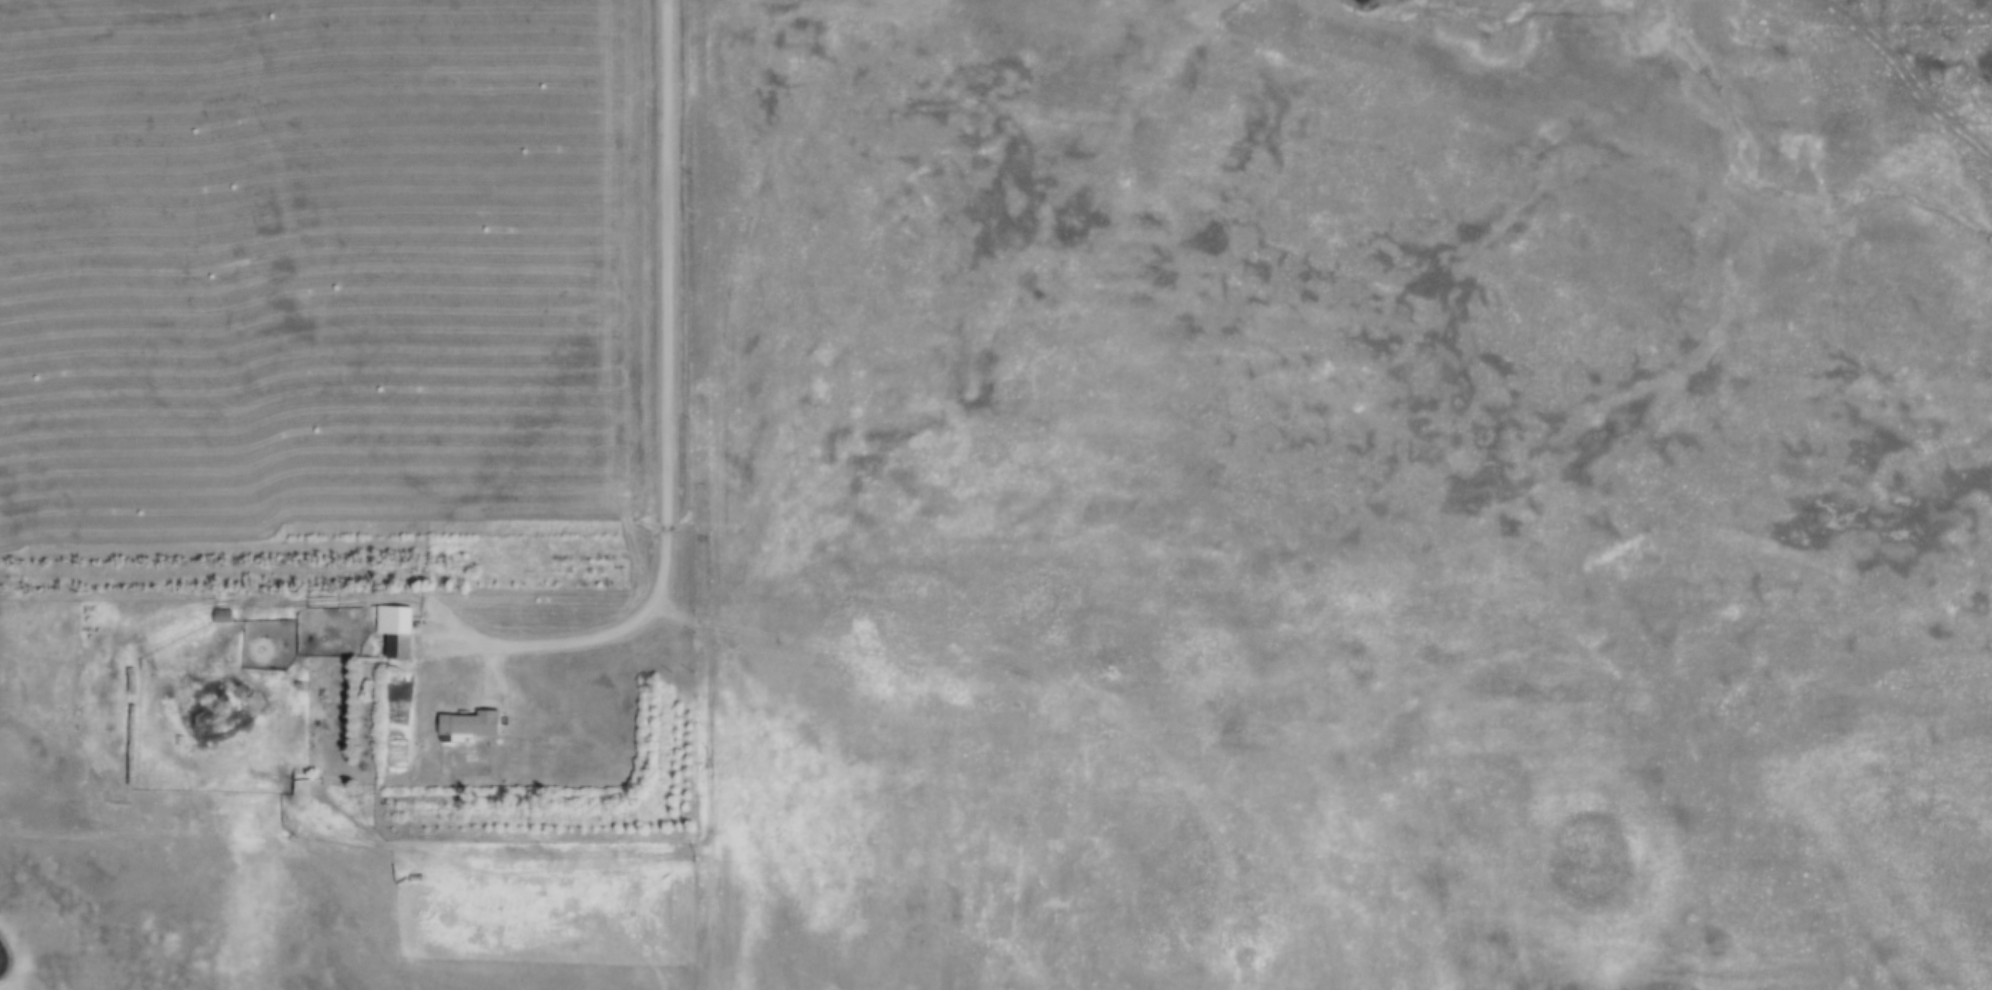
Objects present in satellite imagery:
road: (701, 316)
road: (667, 414)
building: (221, 615)
building: (393, 630)
building: (467, 724)
road: (710, 782)
road: (98, 838)

